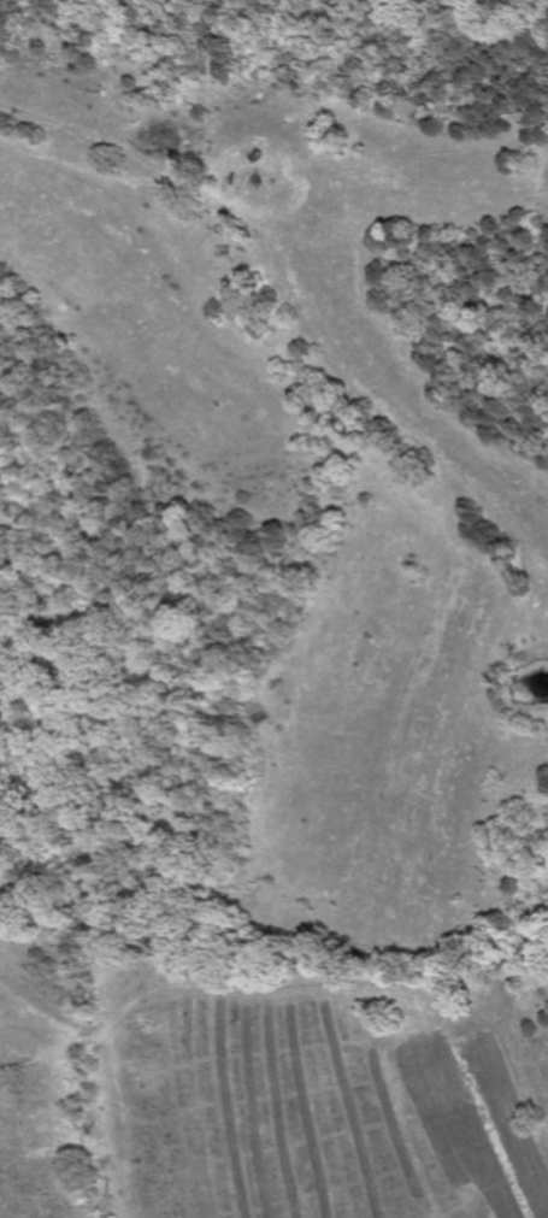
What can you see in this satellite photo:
road: (253, 336)

